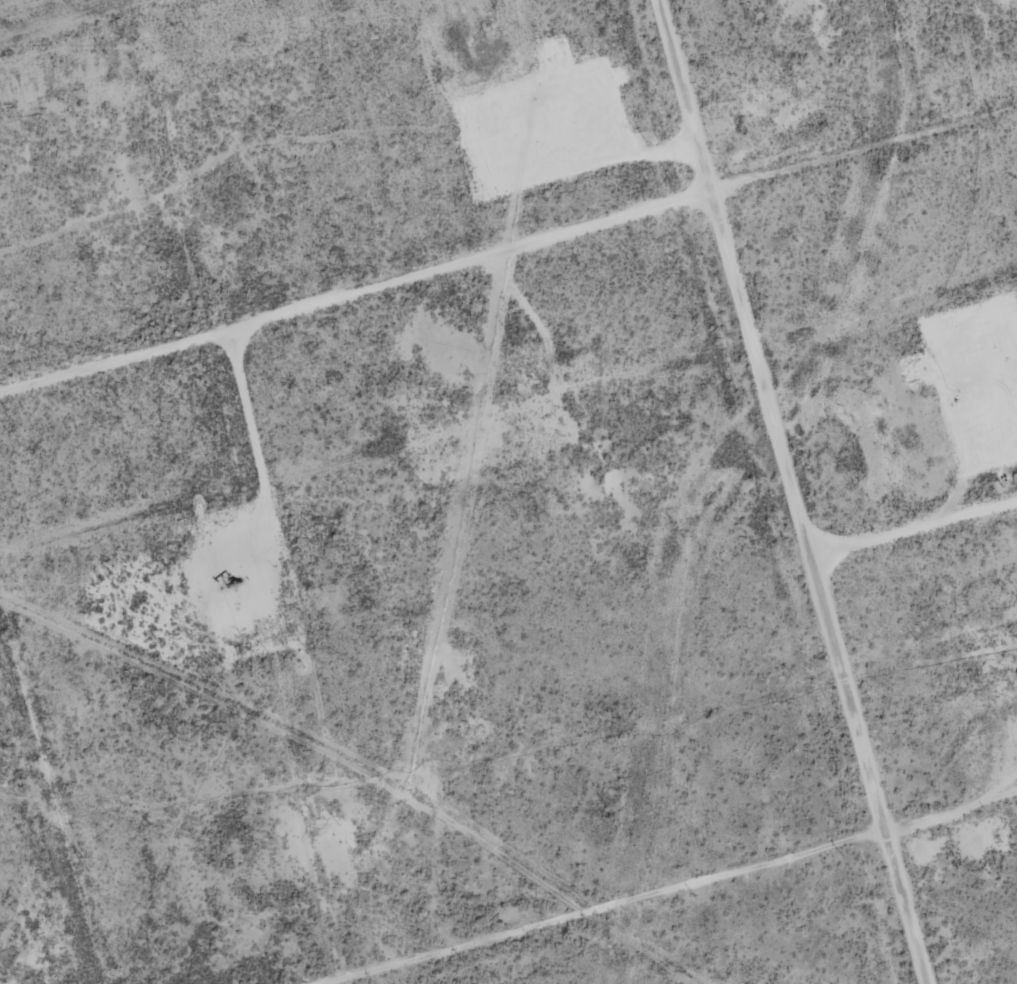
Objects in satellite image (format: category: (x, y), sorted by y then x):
road: (805, 492)

